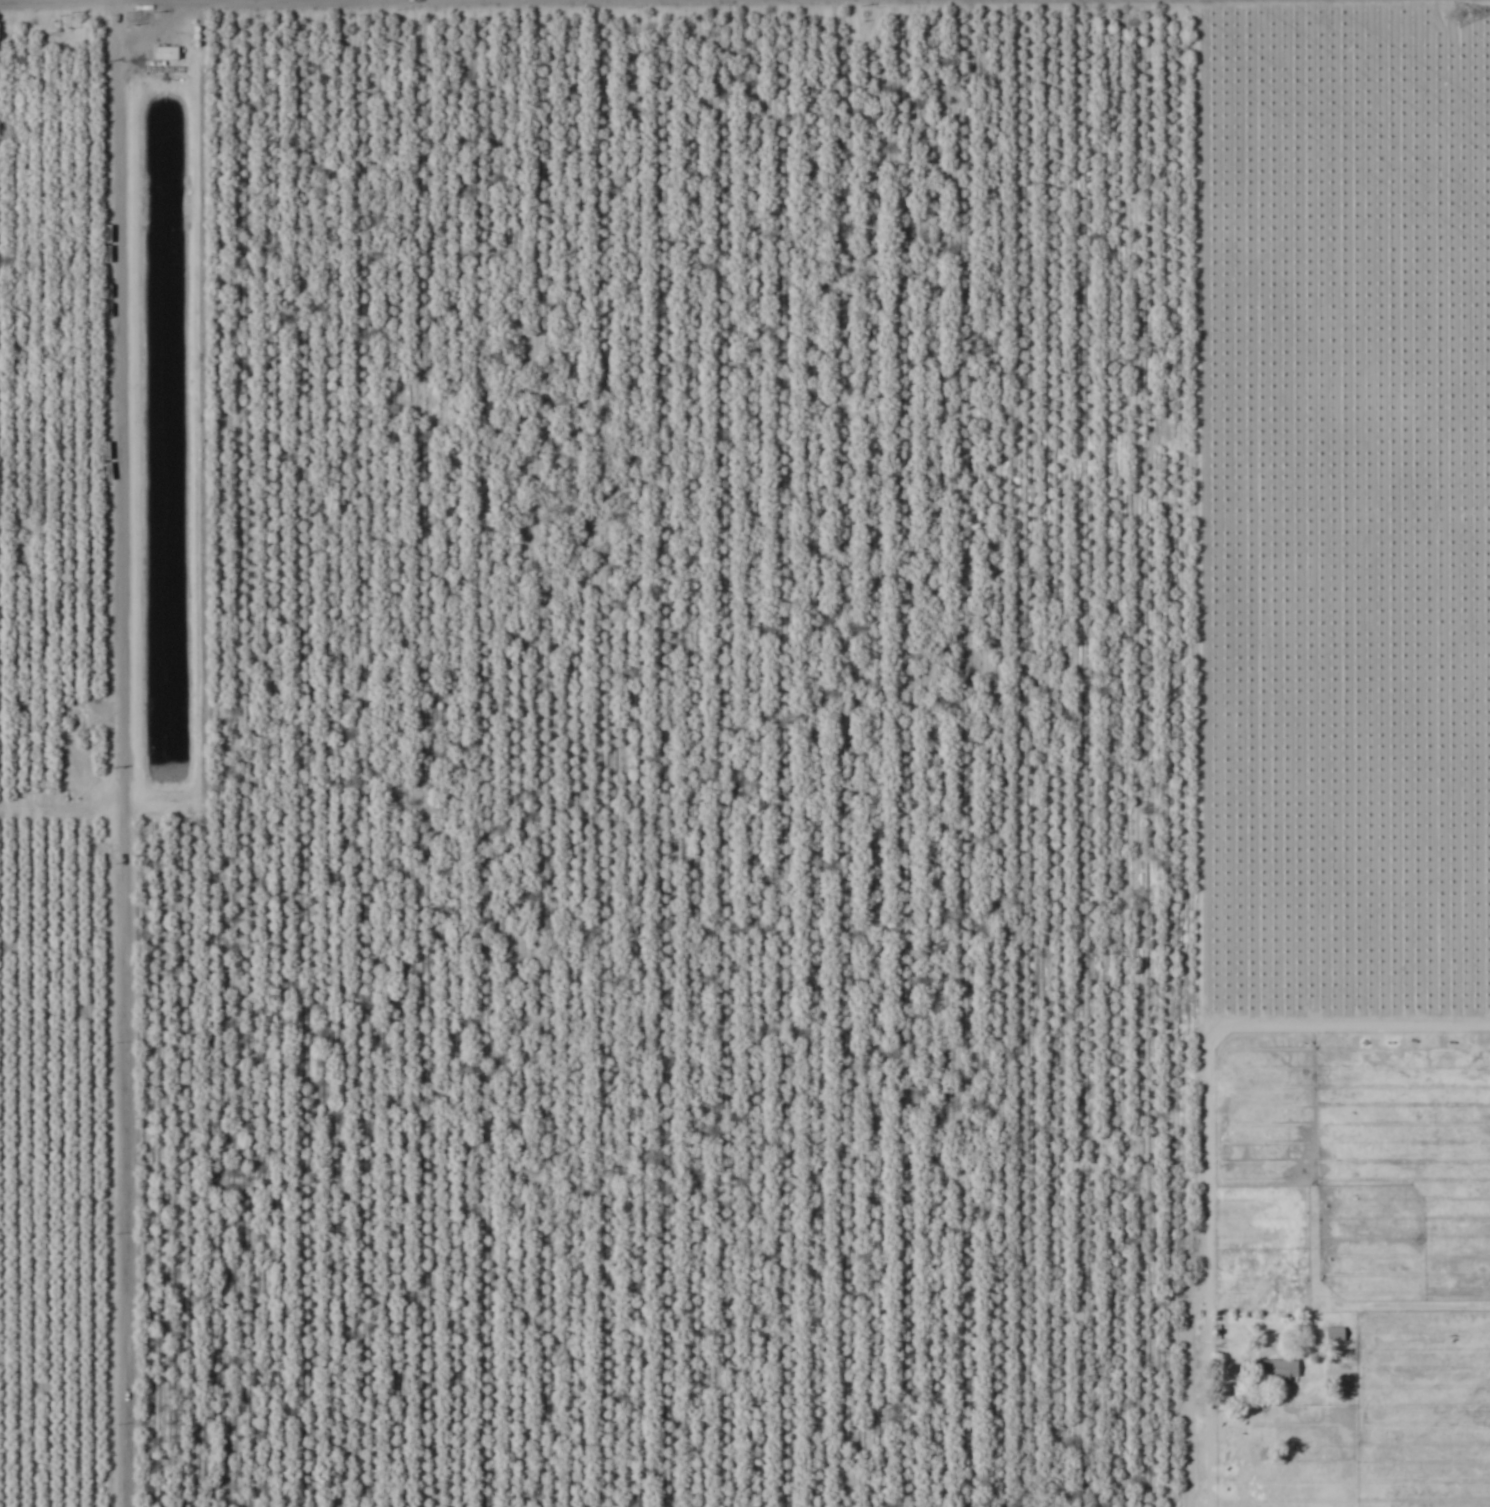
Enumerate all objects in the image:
power tower: (1455, 14)
road: (65, 31)
road: (123, 753)
crop: (745, 753)
building: (1334, 1334)
building: (1278, 1371)

